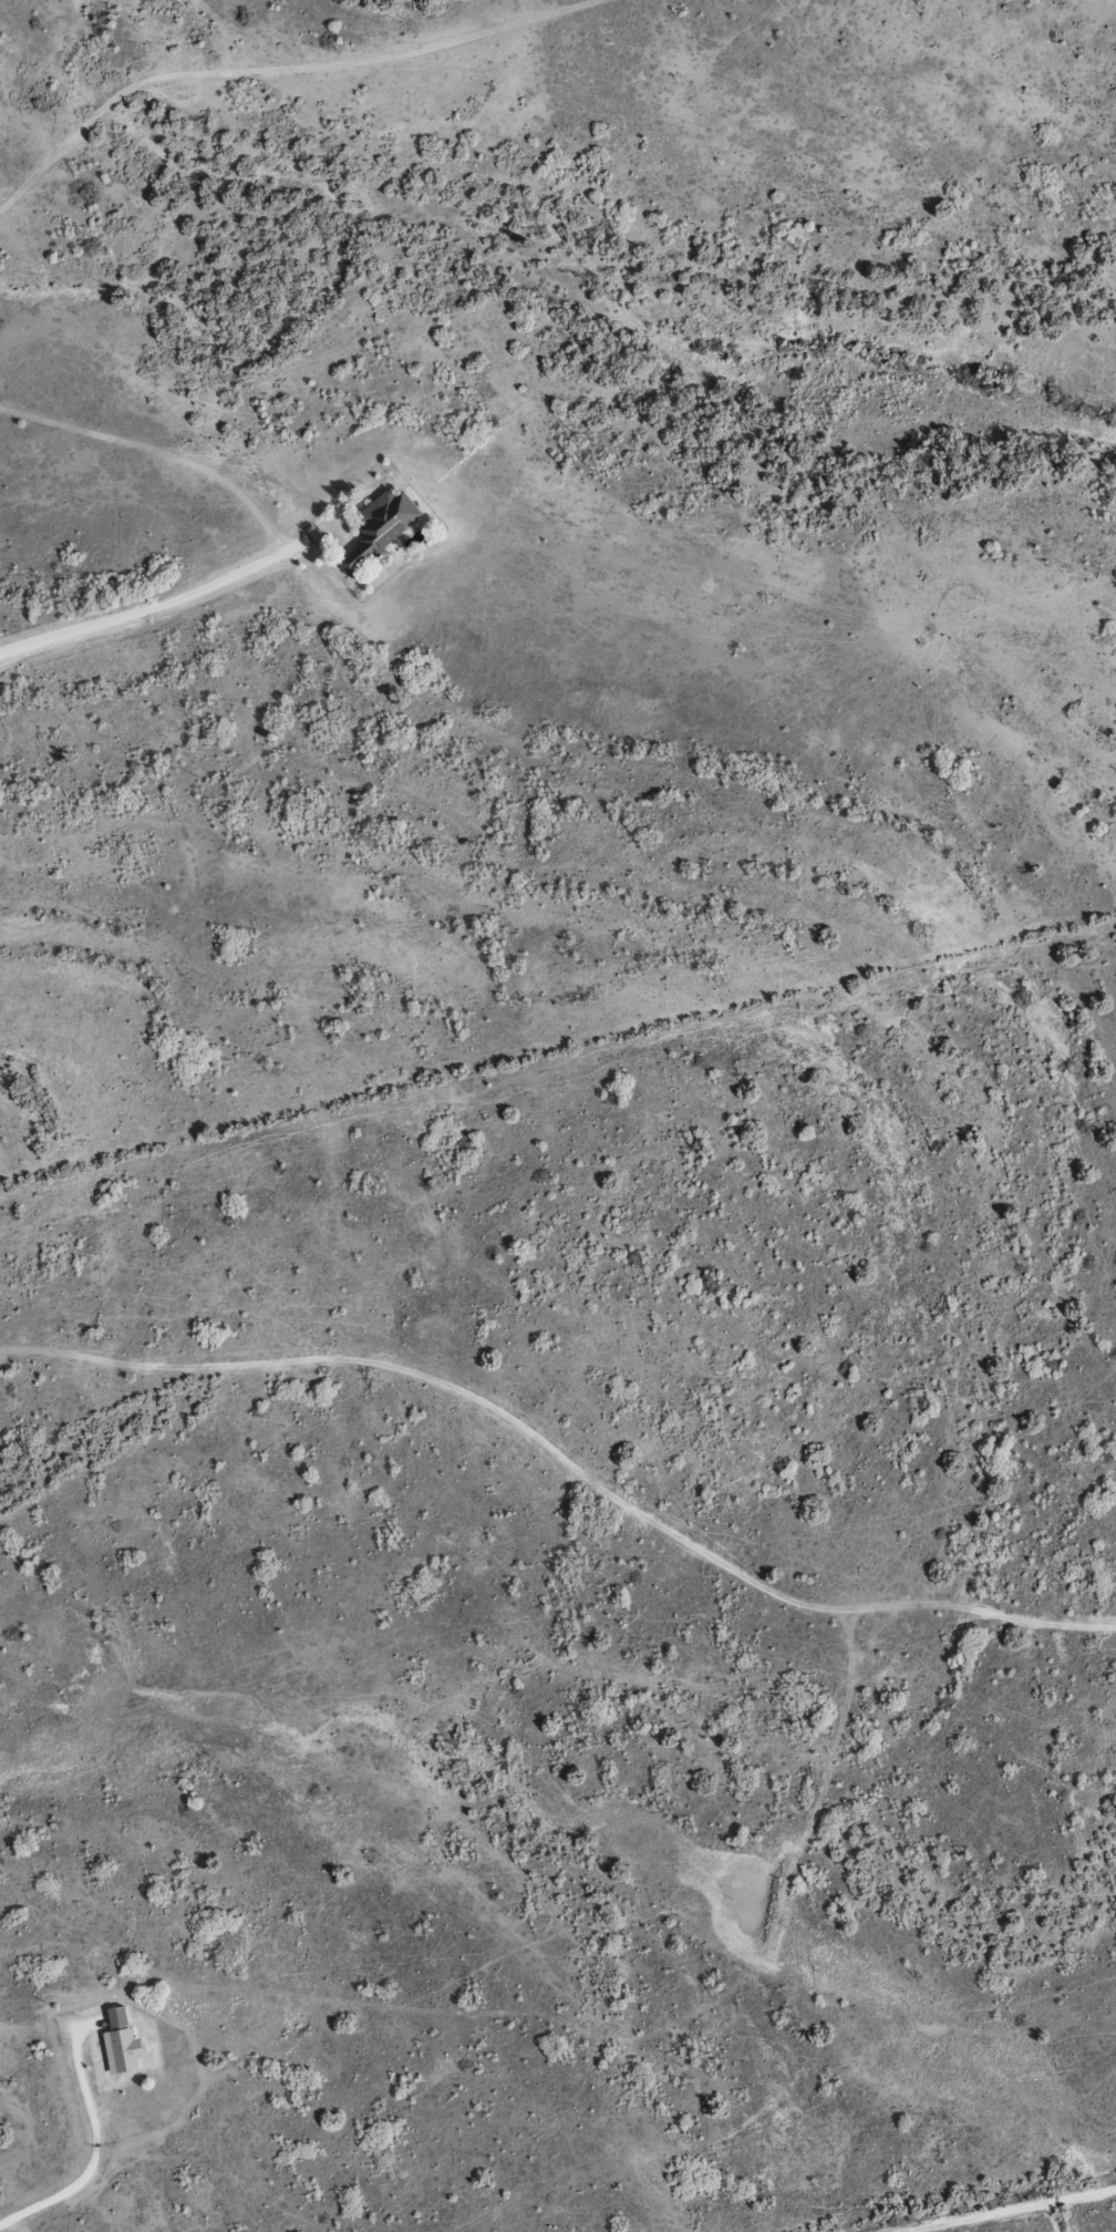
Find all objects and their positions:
road: (146, 607)
building: (123, 2041)
road: (95, 2142)

